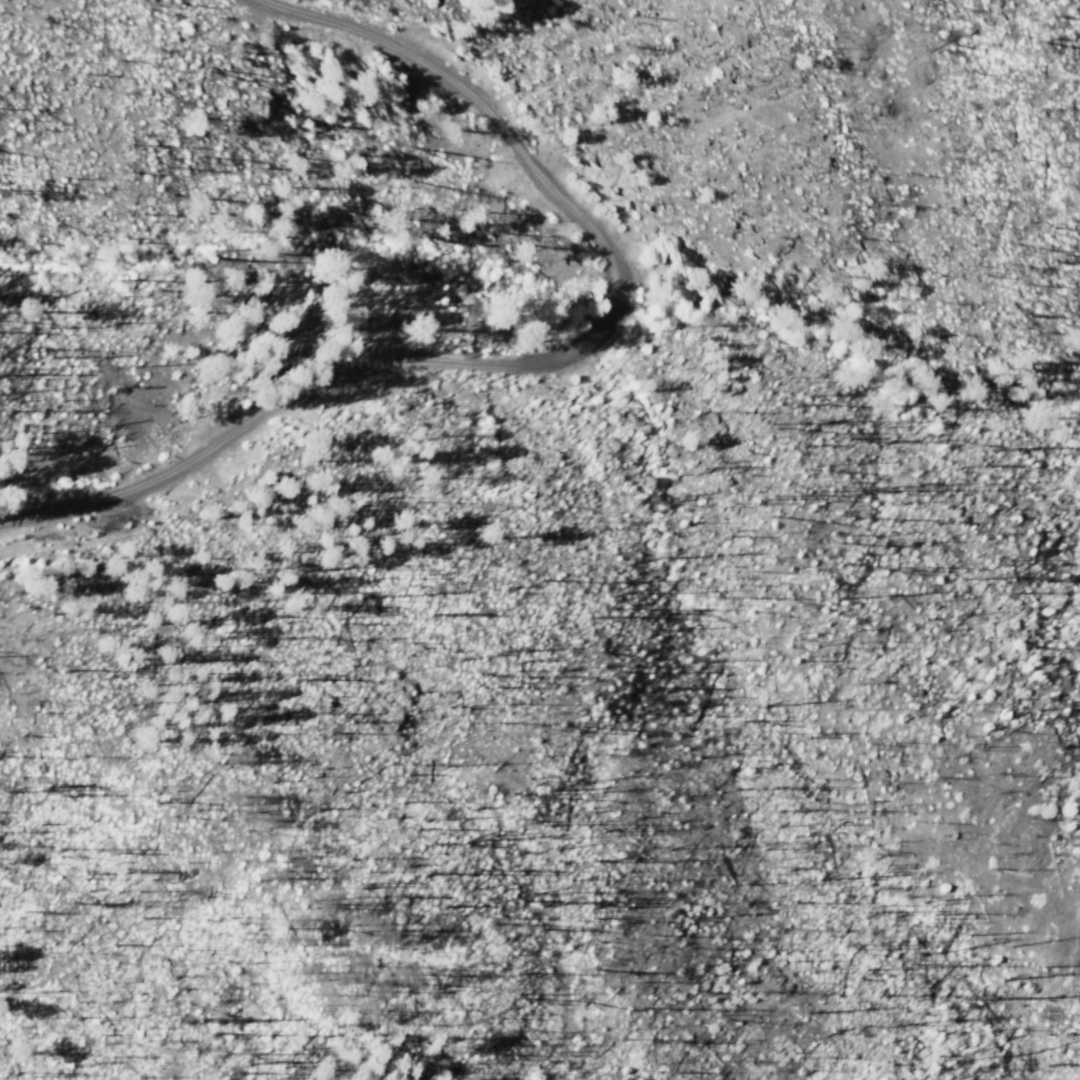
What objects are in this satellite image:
road: (603, 316)

